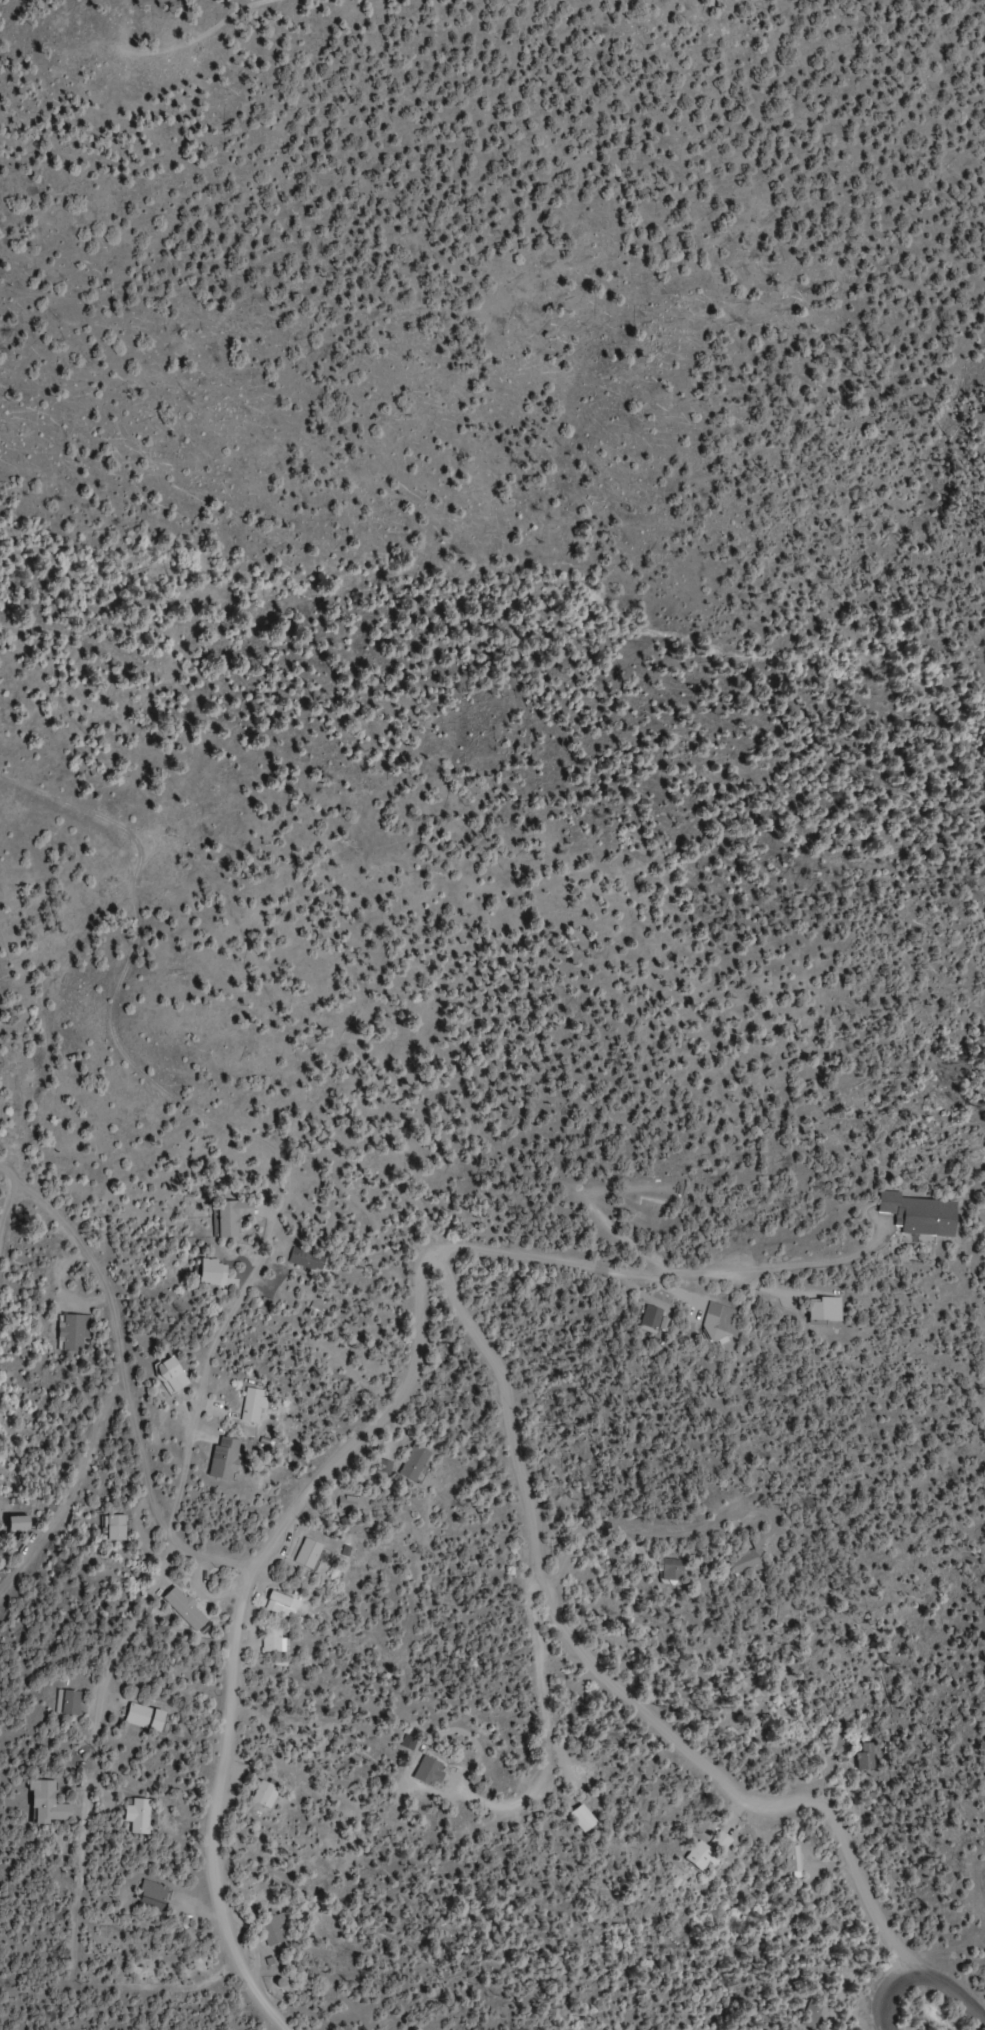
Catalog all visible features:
road: (6, 1213)
building: (919, 1214)
building: (232, 1216)
building: (306, 1259)
road: (586, 1270)
building: (825, 1310)
building: (651, 1319)
building: (725, 1323)
building: (75, 1333)
road: (210, 1351)
building: (172, 1375)
road: (127, 1392)
building: (254, 1406)
building: (225, 1459)
building: (415, 1463)
road: (70, 1498)
building: (351, 1505)
road: (626, 1527)
building: (115, 1528)
building: (309, 1554)
building: (746, 1564)
road: (530, 1569)
building: (673, 1570)
building: (281, 1600)
building: (186, 1609)
road: (130, 1622)
road: (240, 1623)
building: (275, 1641)
building: (69, 1703)
building: (145, 1719)
road: (551, 1741)
building: (867, 1758)
building: (429, 1772)
building: (264, 1795)
road: (784, 1802)
building: (48, 1804)
building: (582, 1820)
building: (706, 1854)
building: (791, 1862)
building: (700, 1866)
road: (862, 1880)
building: (154, 1896)
road: (952, 1980)
road: (891, 1995)
building: (811, 2015)

